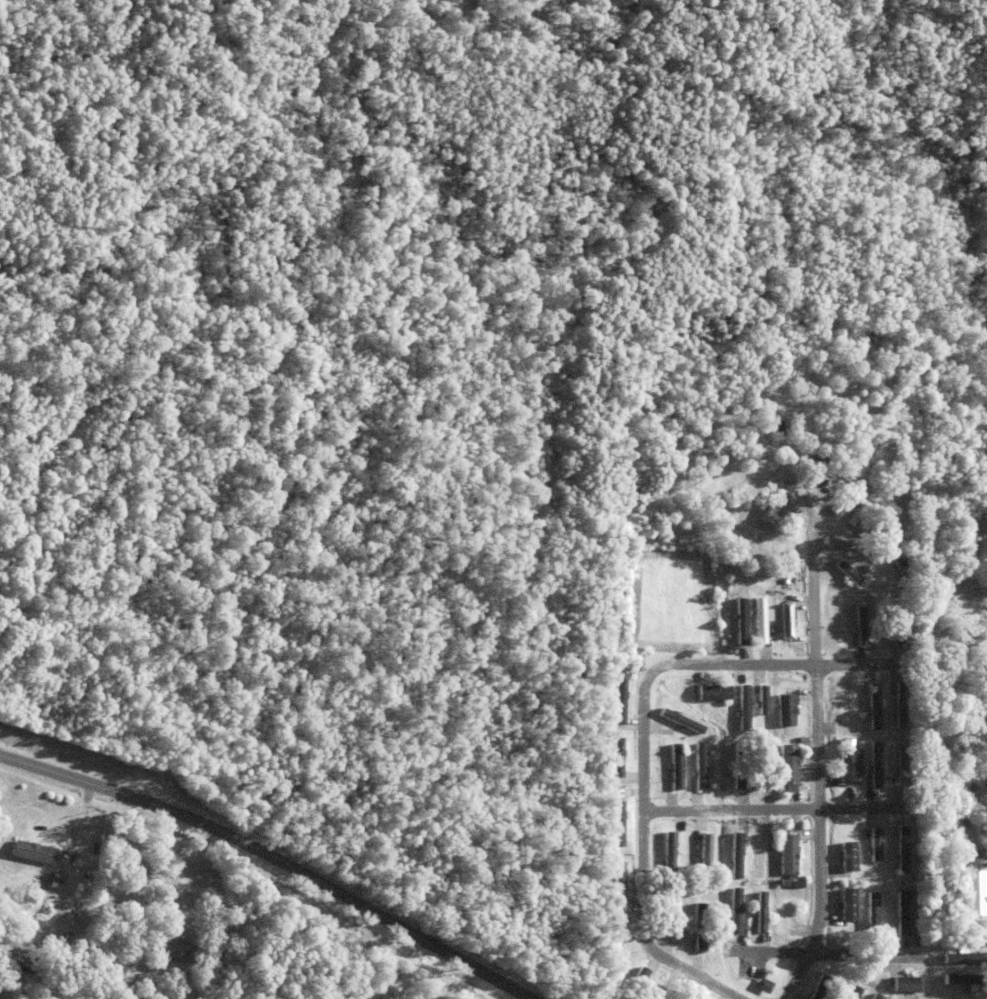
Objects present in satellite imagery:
building: (779, 504)
building: (875, 535)
building: (898, 567)
building: (849, 571)
building: (884, 586)
building: (742, 620)
building: (761, 620)
building: (788, 623)
building: (899, 623)
building: (843, 625)
building: (863, 625)
building: (714, 692)
building: (764, 699)
building: (620, 700)
building: (843, 705)
building: (901, 705)
building: (875, 706)
building: (744, 707)
building: (786, 710)
building: (681, 720)
building: (619, 756)
building: (765, 764)
building: (788, 764)
building: (850, 764)
building: (876, 764)
building: (739, 765)
building: (677, 766)
building: (700, 766)
building: (903, 766)
building: (666, 773)
building: (797, 797)
building: (619, 823)
building: (953, 843)
building: (876, 845)
building: (903, 849)
building: (34, 852)
building: (706, 853)
building: (789, 854)
building: (669, 855)
building: (737, 855)
building: (758, 855)
building: (850, 856)
road: (273, 857)
building: (793, 877)
building: (946, 879)
building: (56, 880)
building: (619, 880)
building: (785, 882)
building: (976, 892)
building: (850, 904)
building: (761, 909)
building: (736, 911)
building: (671, 912)
building: (214, 913)
building: (789, 914)
building: (902, 914)
building: (873, 915)
building: (700, 926)
building: (620, 945)
building: (147, 947)
building: (170, 950)
building: (215, 957)
building: (965, 958)
building: (30, 969)
building: (620, 973)
building: (965, 979)
building: (637, 983)
building: (906, 984)
building: (765, 986)
building: (822, 988)
building: (854, 992)
building: (670, 995)
building: (878, 997)

